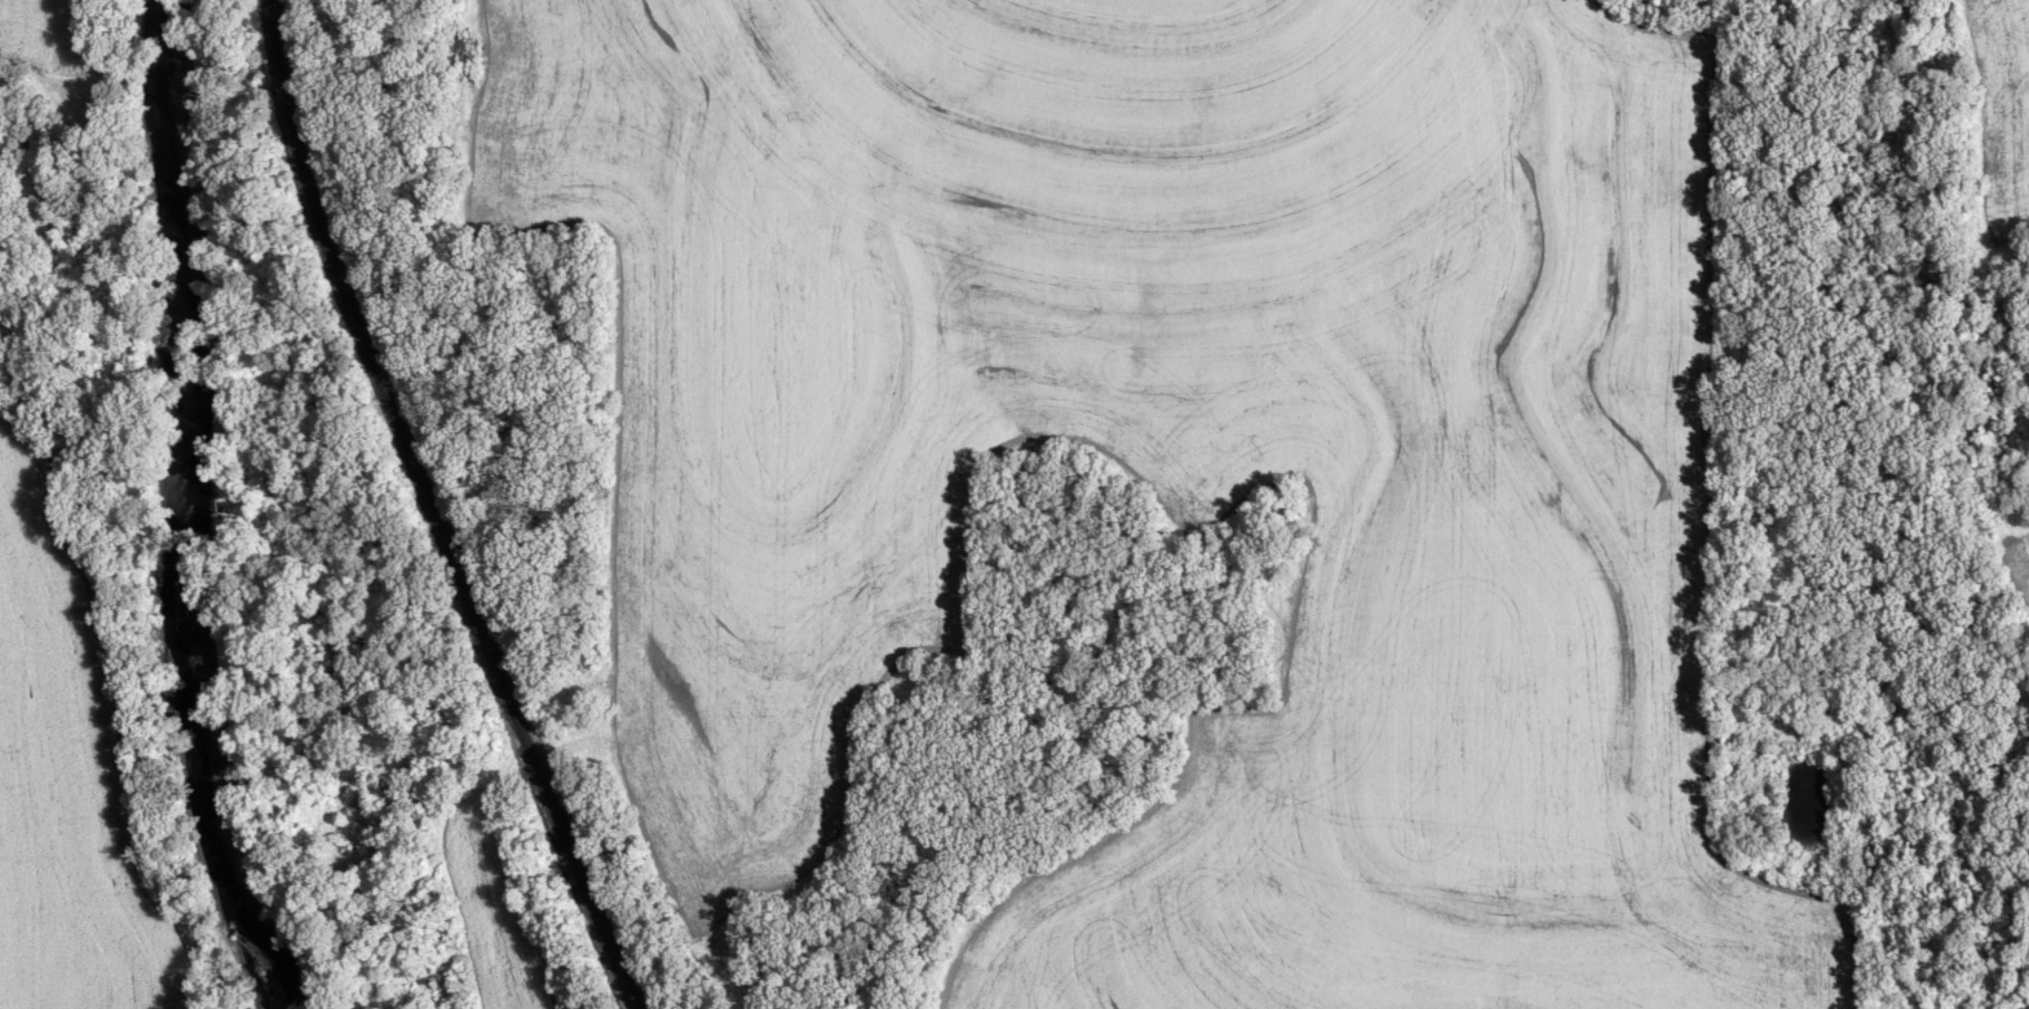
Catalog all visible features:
railway: (430, 511)
river: (188, 512)

